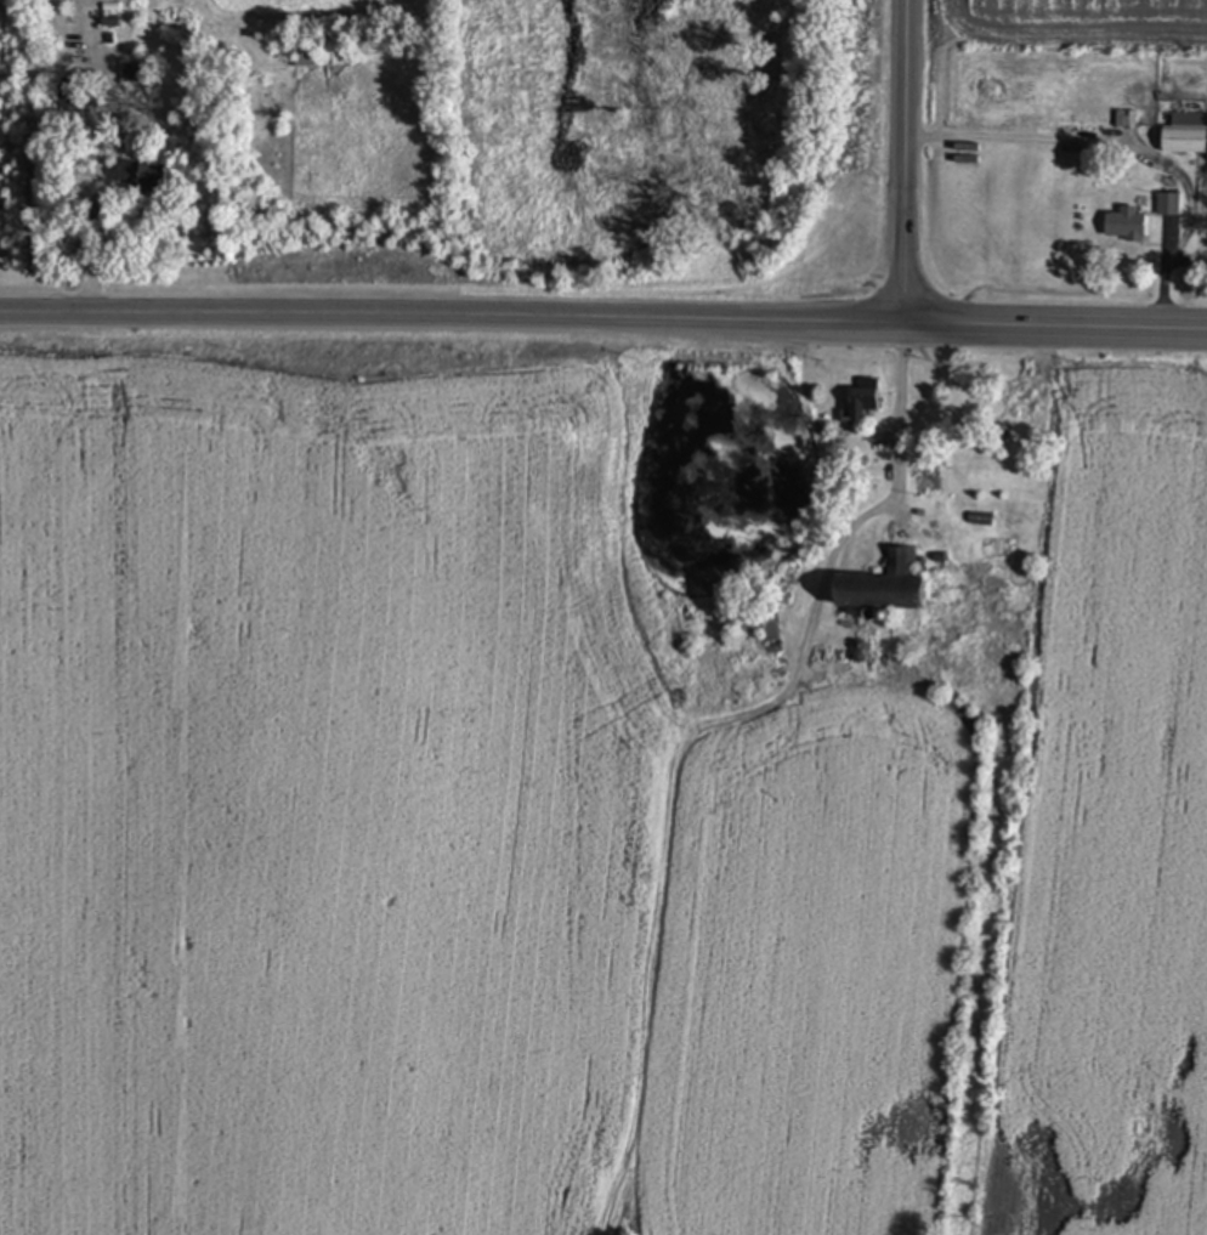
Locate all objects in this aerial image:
building: (308, 62)
building: (132, 74)
building: (69, 108)
building: (1185, 135)
road: (1020, 137)
road: (899, 164)
building: (143, 181)
road: (95, 198)
building: (1168, 205)
building: (1126, 226)
road: (447, 318)
road: (1050, 330)
building: (863, 400)
road: (897, 495)
building: (885, 588)

